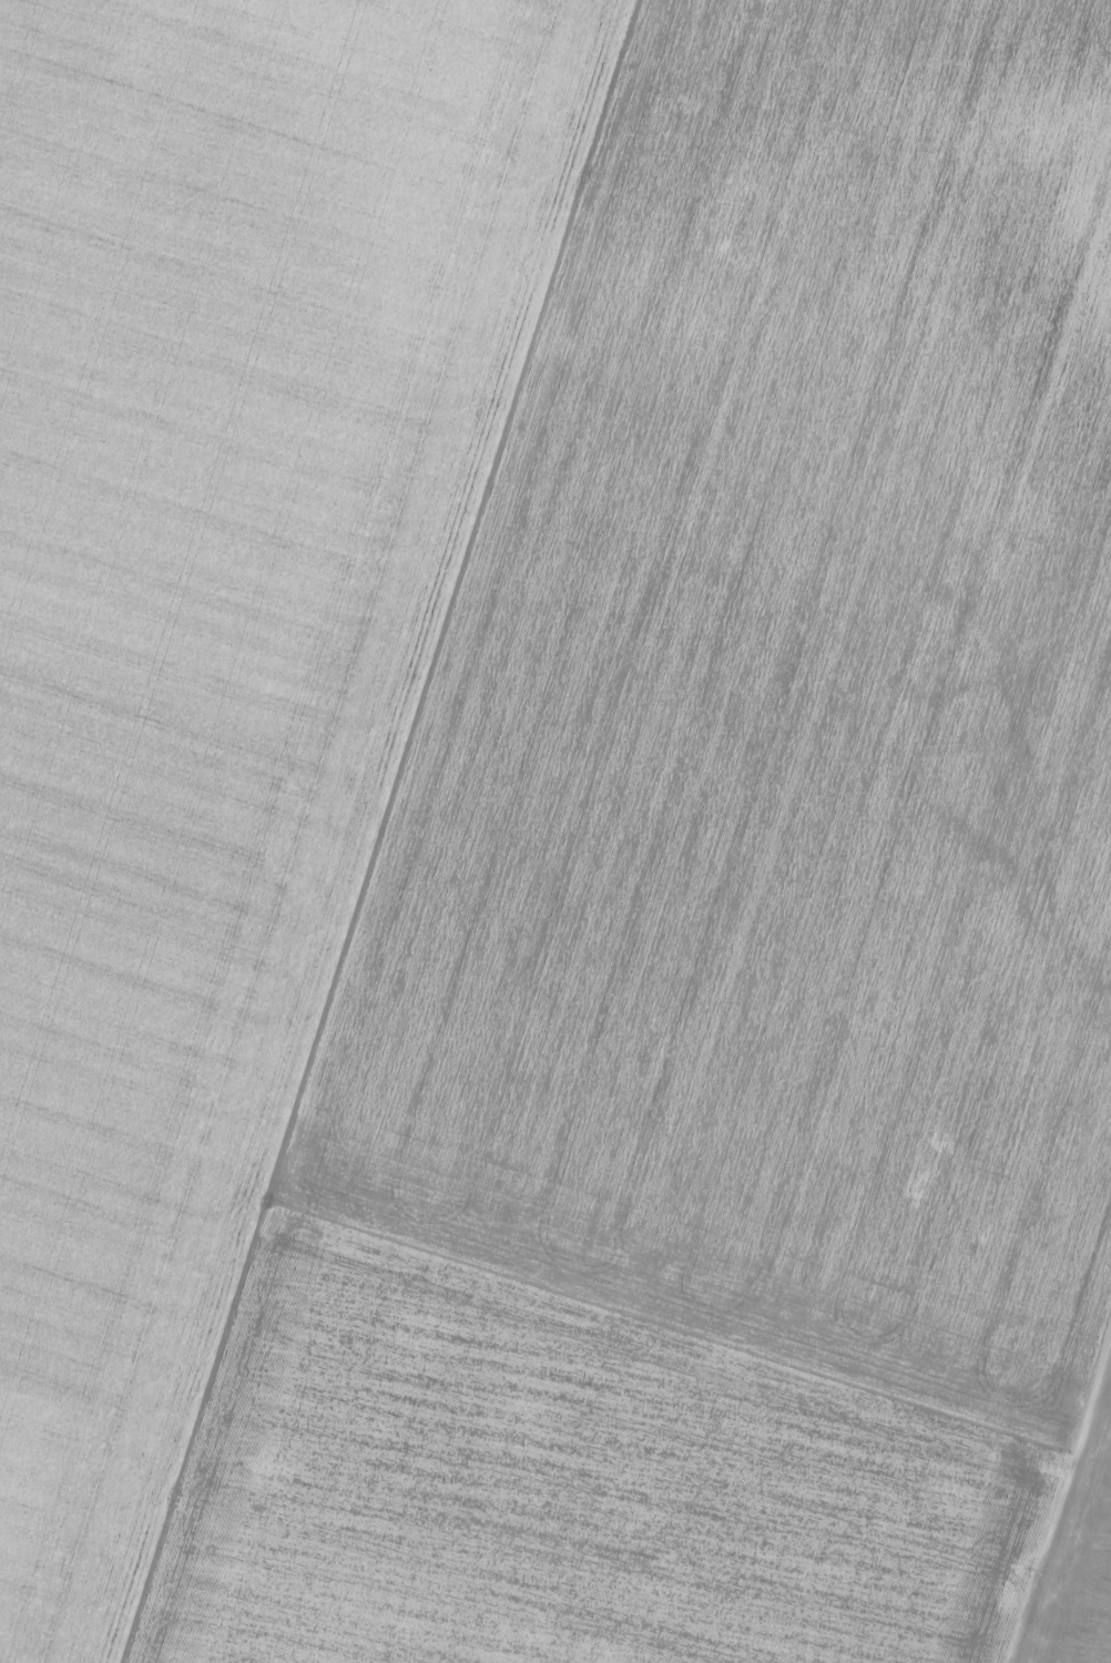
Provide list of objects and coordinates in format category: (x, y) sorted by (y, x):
road: (389, 831)

